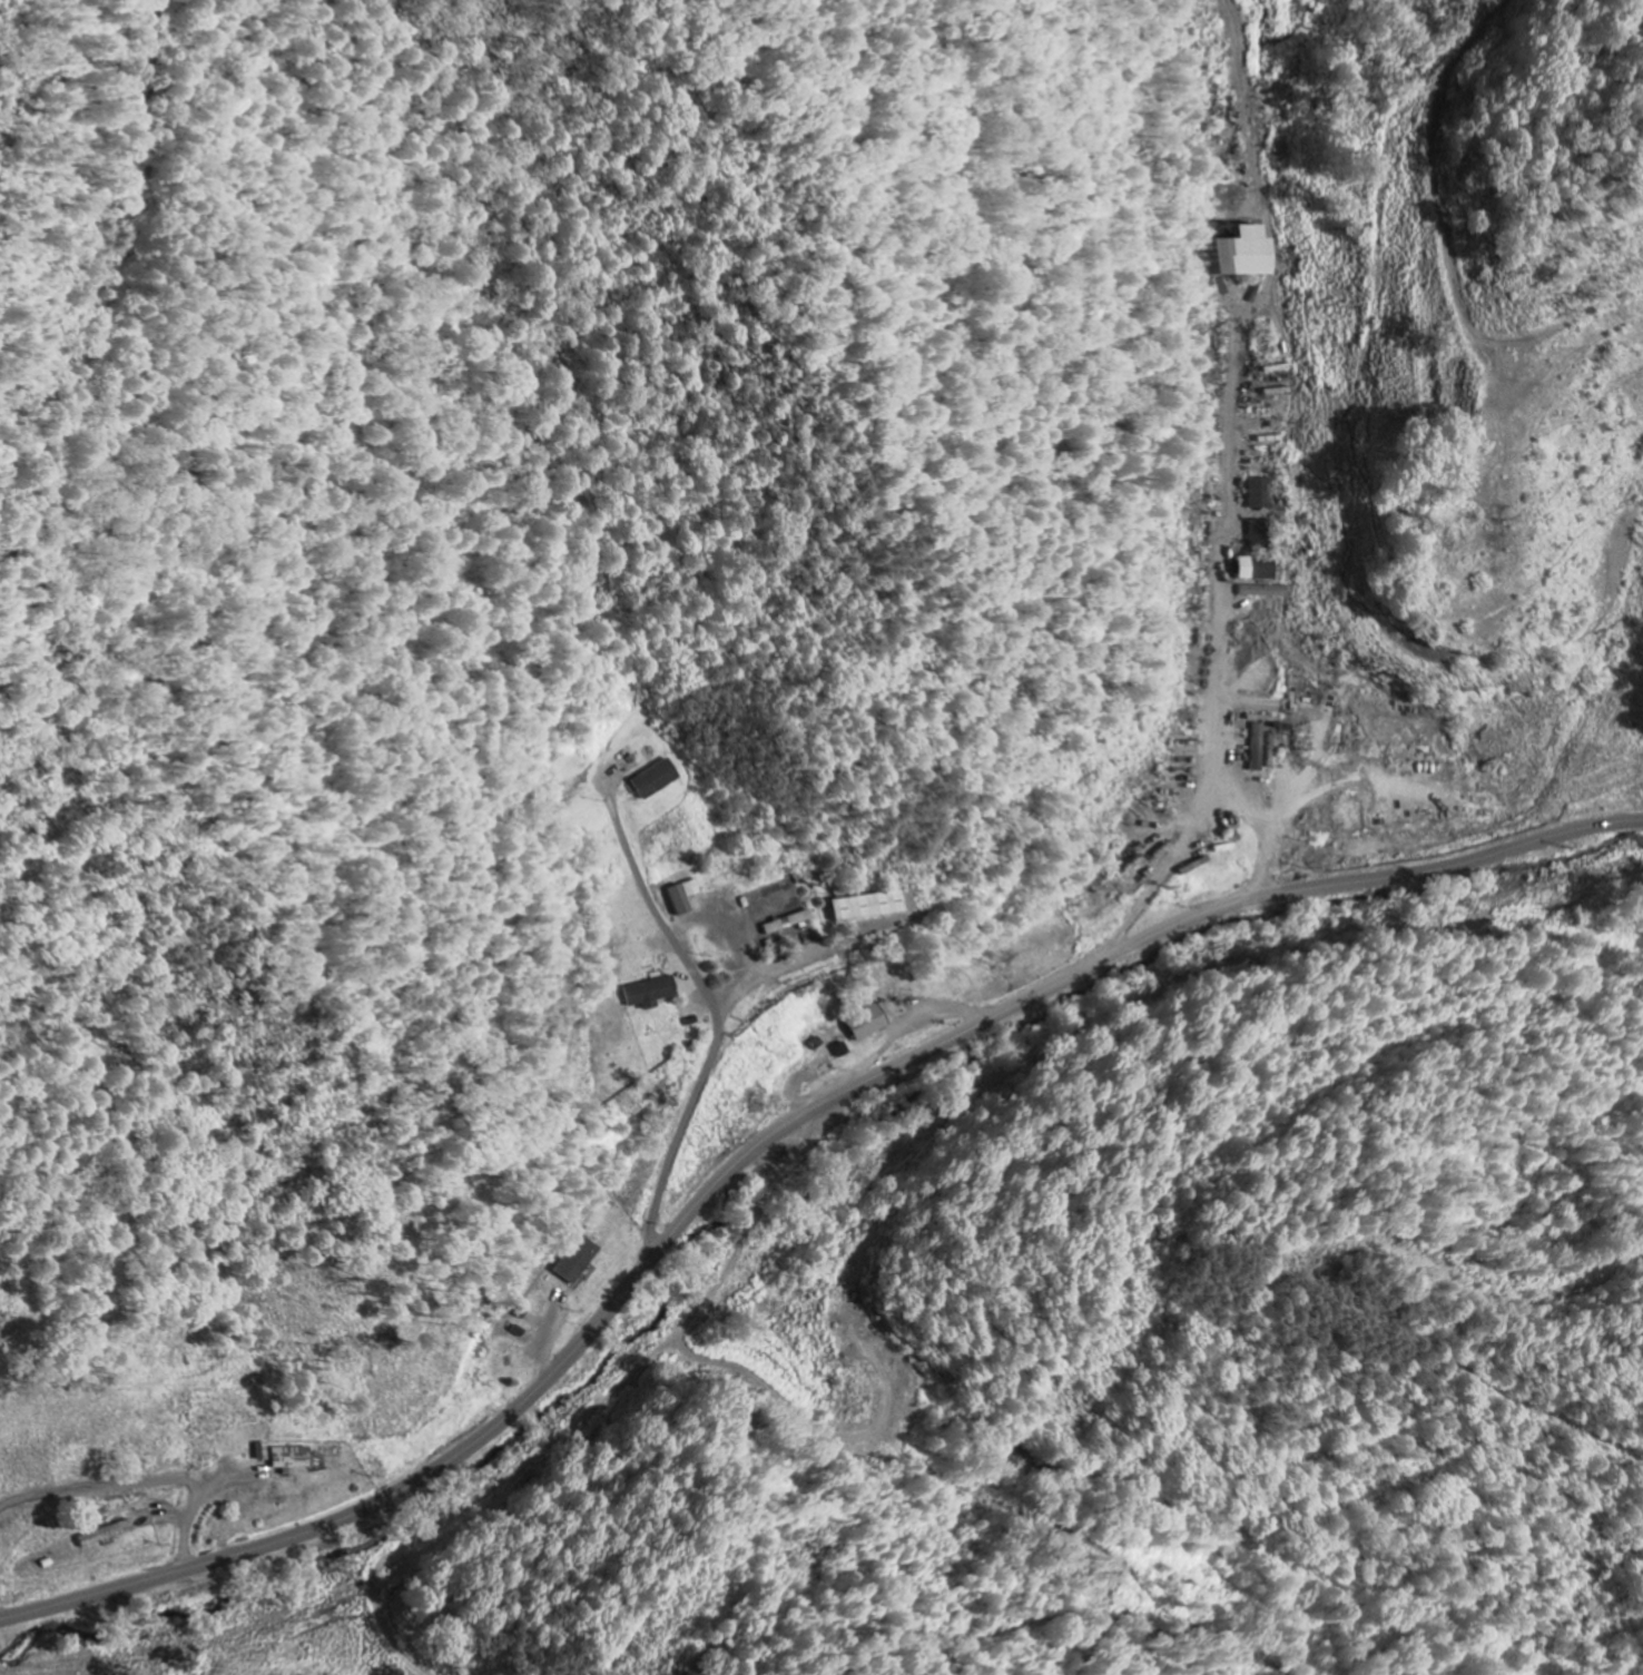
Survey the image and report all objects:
building: (1243, 255)
building: (1260, 512)
road: (1240, 518)
building: (1258, 568)
building: (1265, 591)
building: (1258, 748)
building: (657, 779)
road: (1269, 821)
building: (685, 896)
building: (875, 906)
building: (789, 923)
building: (651, 993)
road: (717, 1022)
building: (870, 1022)
road: (770, 1137)
building: (579, 1261)
building: (264, 1451)
building: (293, 1459)
road: (141, 1472)

